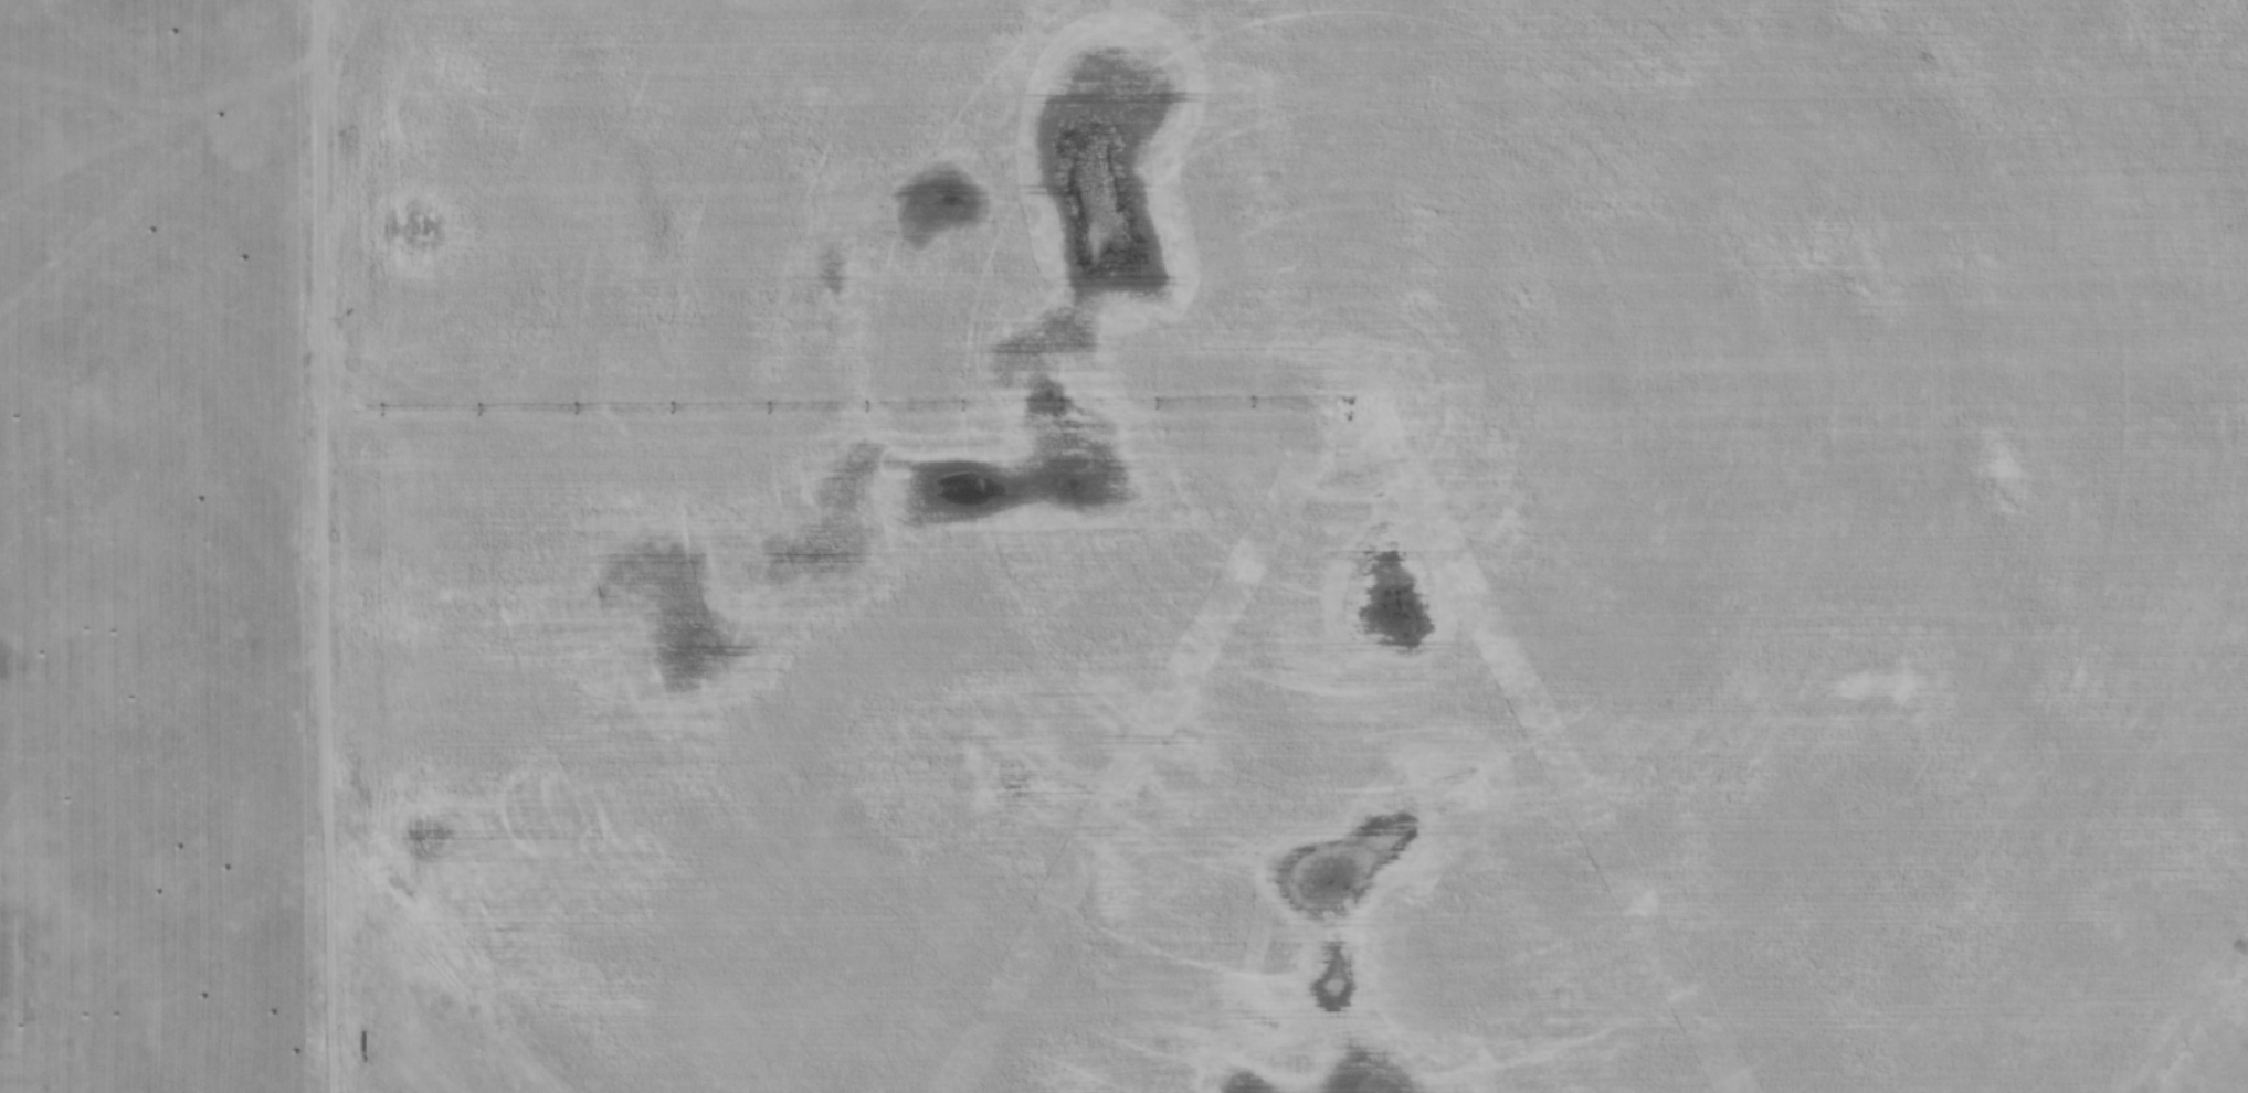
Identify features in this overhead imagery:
road: (320, 546)

